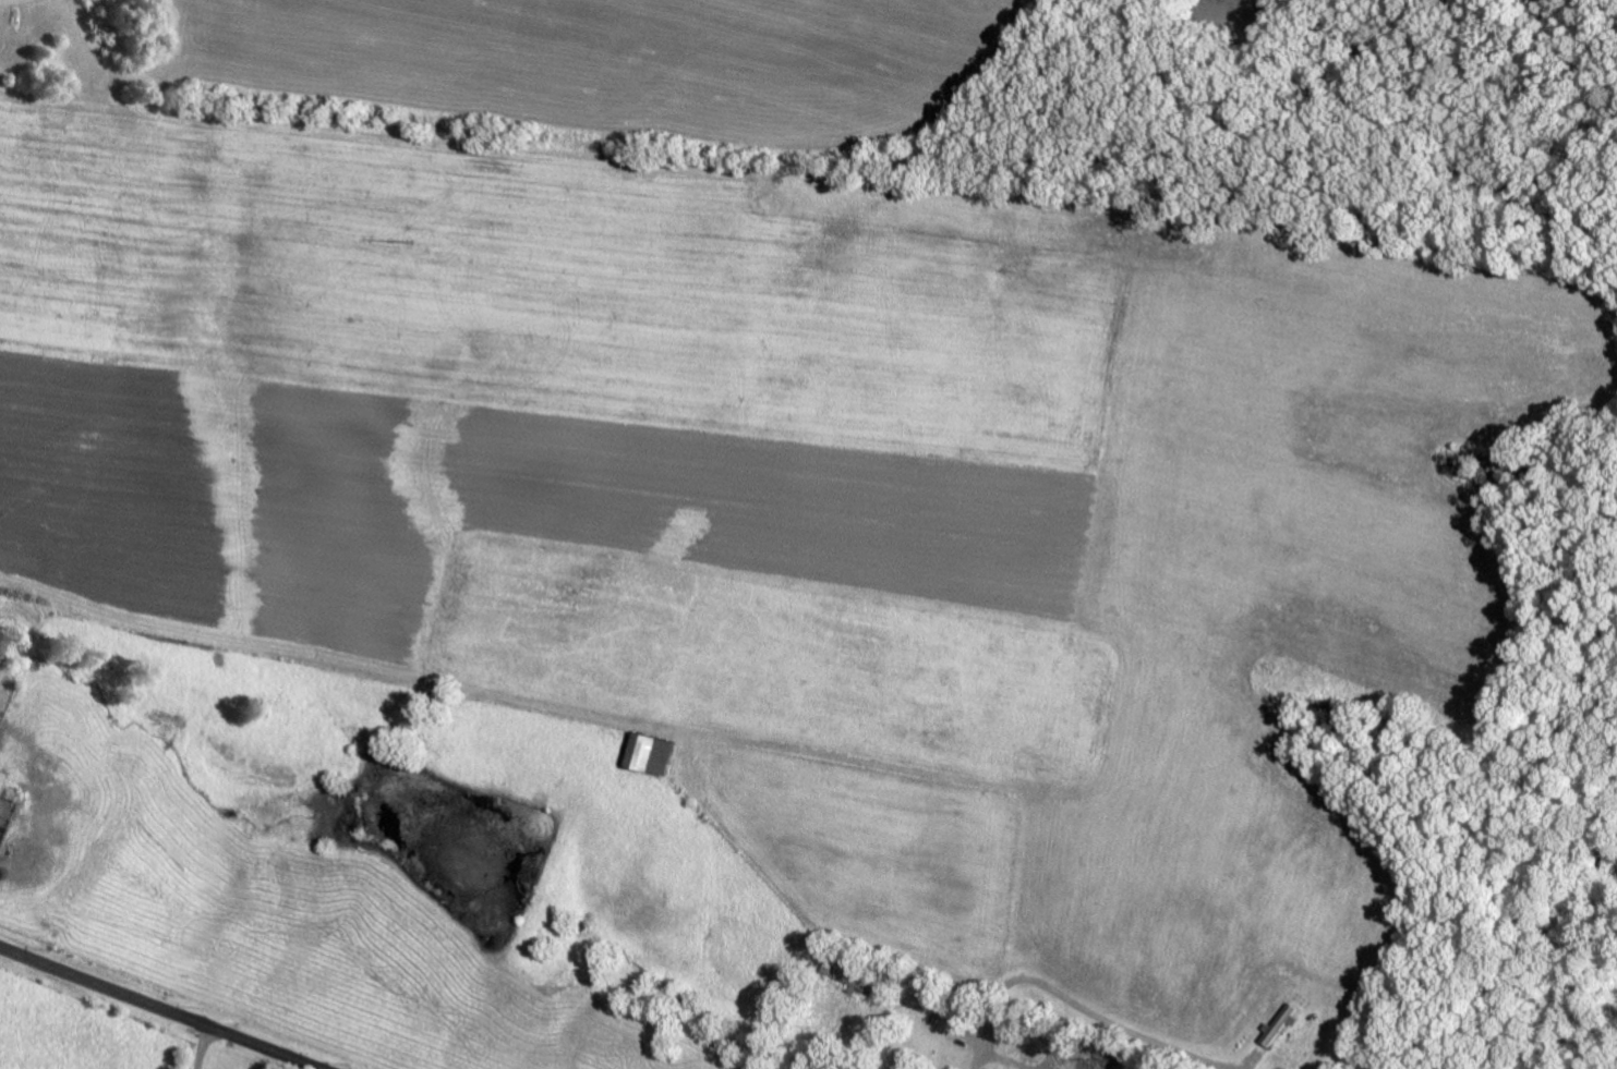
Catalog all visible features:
building: (647, 751)
building: (940, 1001)
road: (1071, 1001)
road: (159, 1007)
road: (819, 1041)

